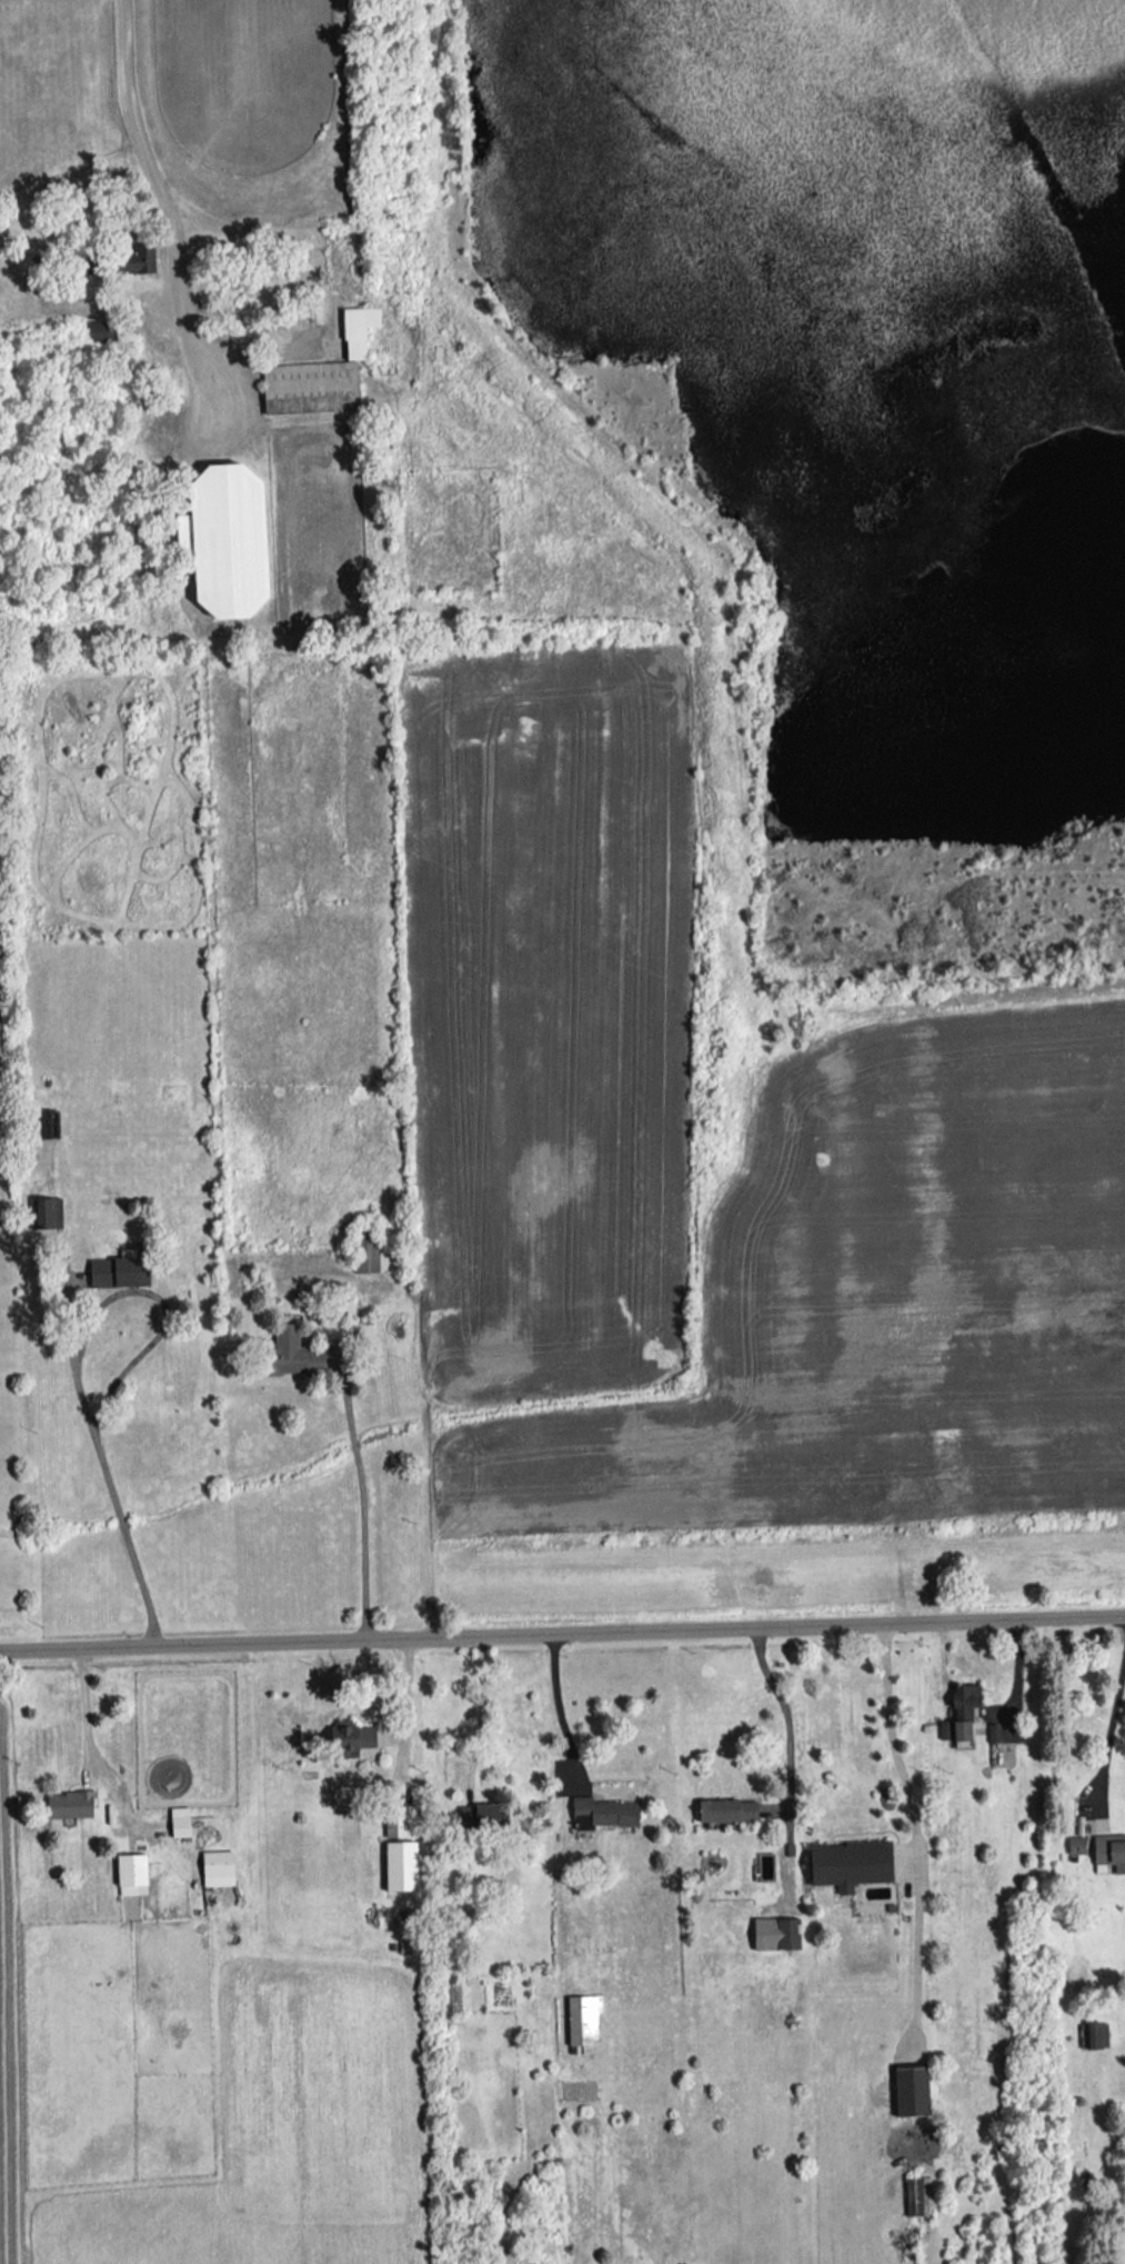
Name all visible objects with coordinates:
road: (155, 168)
building: (134, 259)
building: (358, 329)
building: (99, 330)
building: (310, 386)
quarry: (855, 437)
building: (224, 539)
building: (48, 1211)
building: (370, 1256)
building: (118, 1270)
building: (292, 1353)
road: (78, 1366)
road: (361, 1498)
road: (562, 1629)
road: (480, 1704)
road: (555, 1705)
road: (403, 1707)
building: (963, 1712)
road: (785, 1723)
road: (1109, 1729)
building: (993, 1732)
building: (350, 1736)
road: (892, 1739)
road: (87, 1744)
building: (69, 1803)
building: (726, 1808)
building: (602, 1812)
building: (481, 1815)
building: (400, 1819)
building: (179, 1822)
building: (1075, 1844)
building: (1109, 1849)
building: (848, 1863)
building: (400, 1865)
building: (217, 1867)
building: (130, 1873)
building: (775, 1933)
road: (915, 1956)
building: (450, 1997)
building: (582, 2017)
building: (1096, 2034)
building: (910, 2090)
building: (917, 2195)

